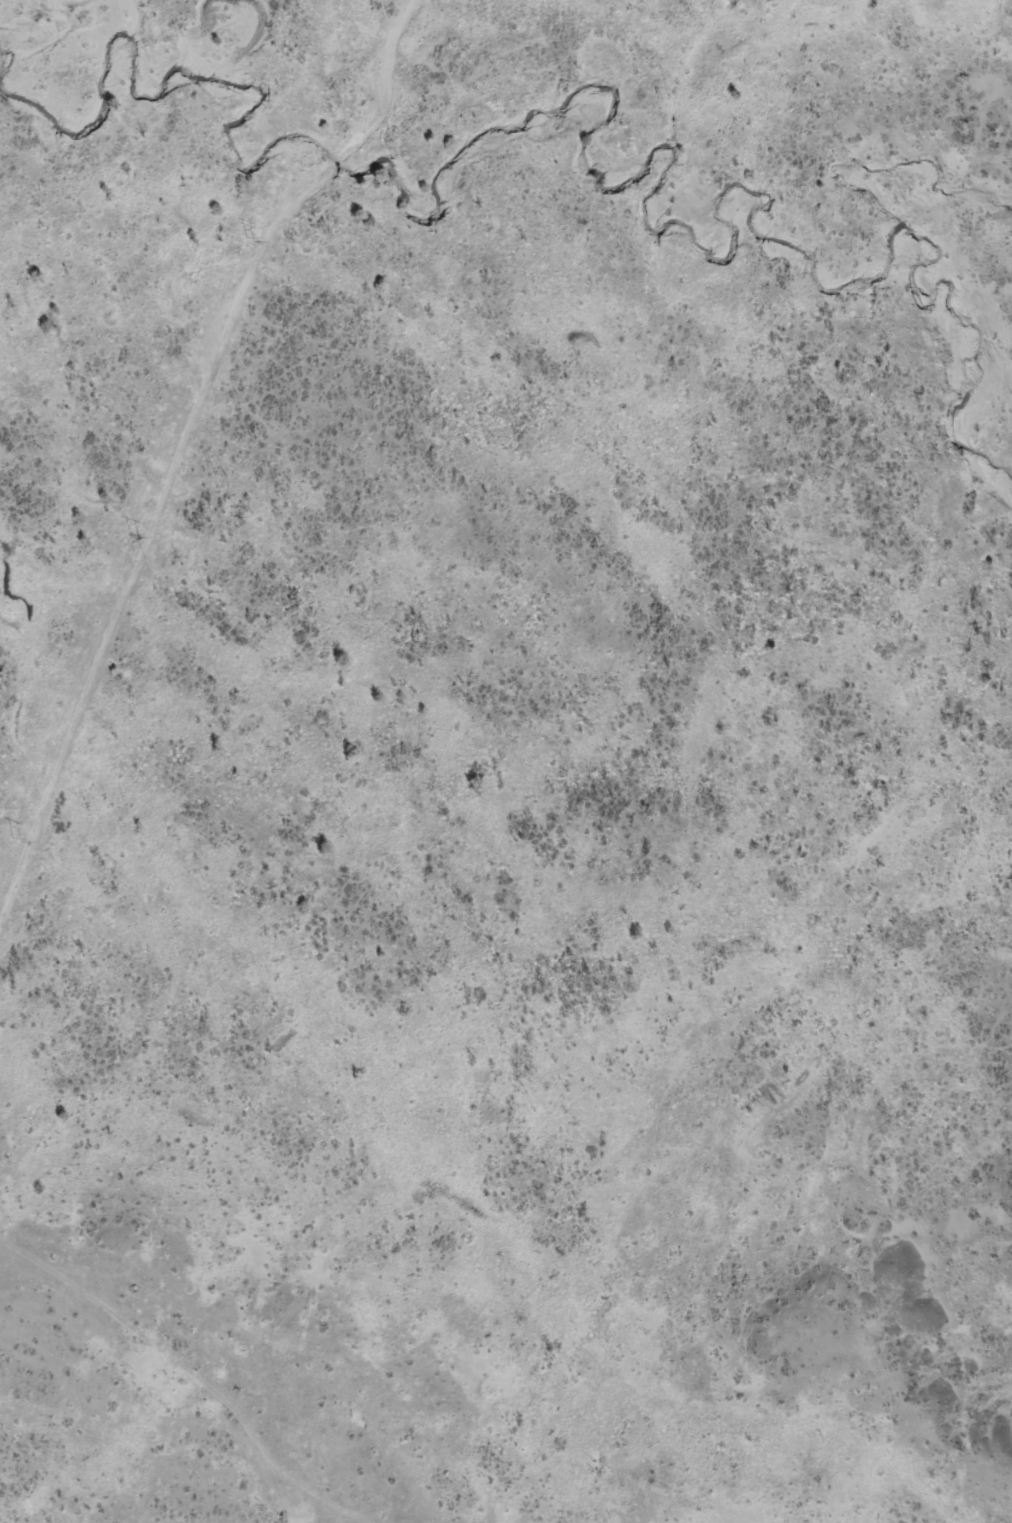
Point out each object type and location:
road: (214, 1392)

